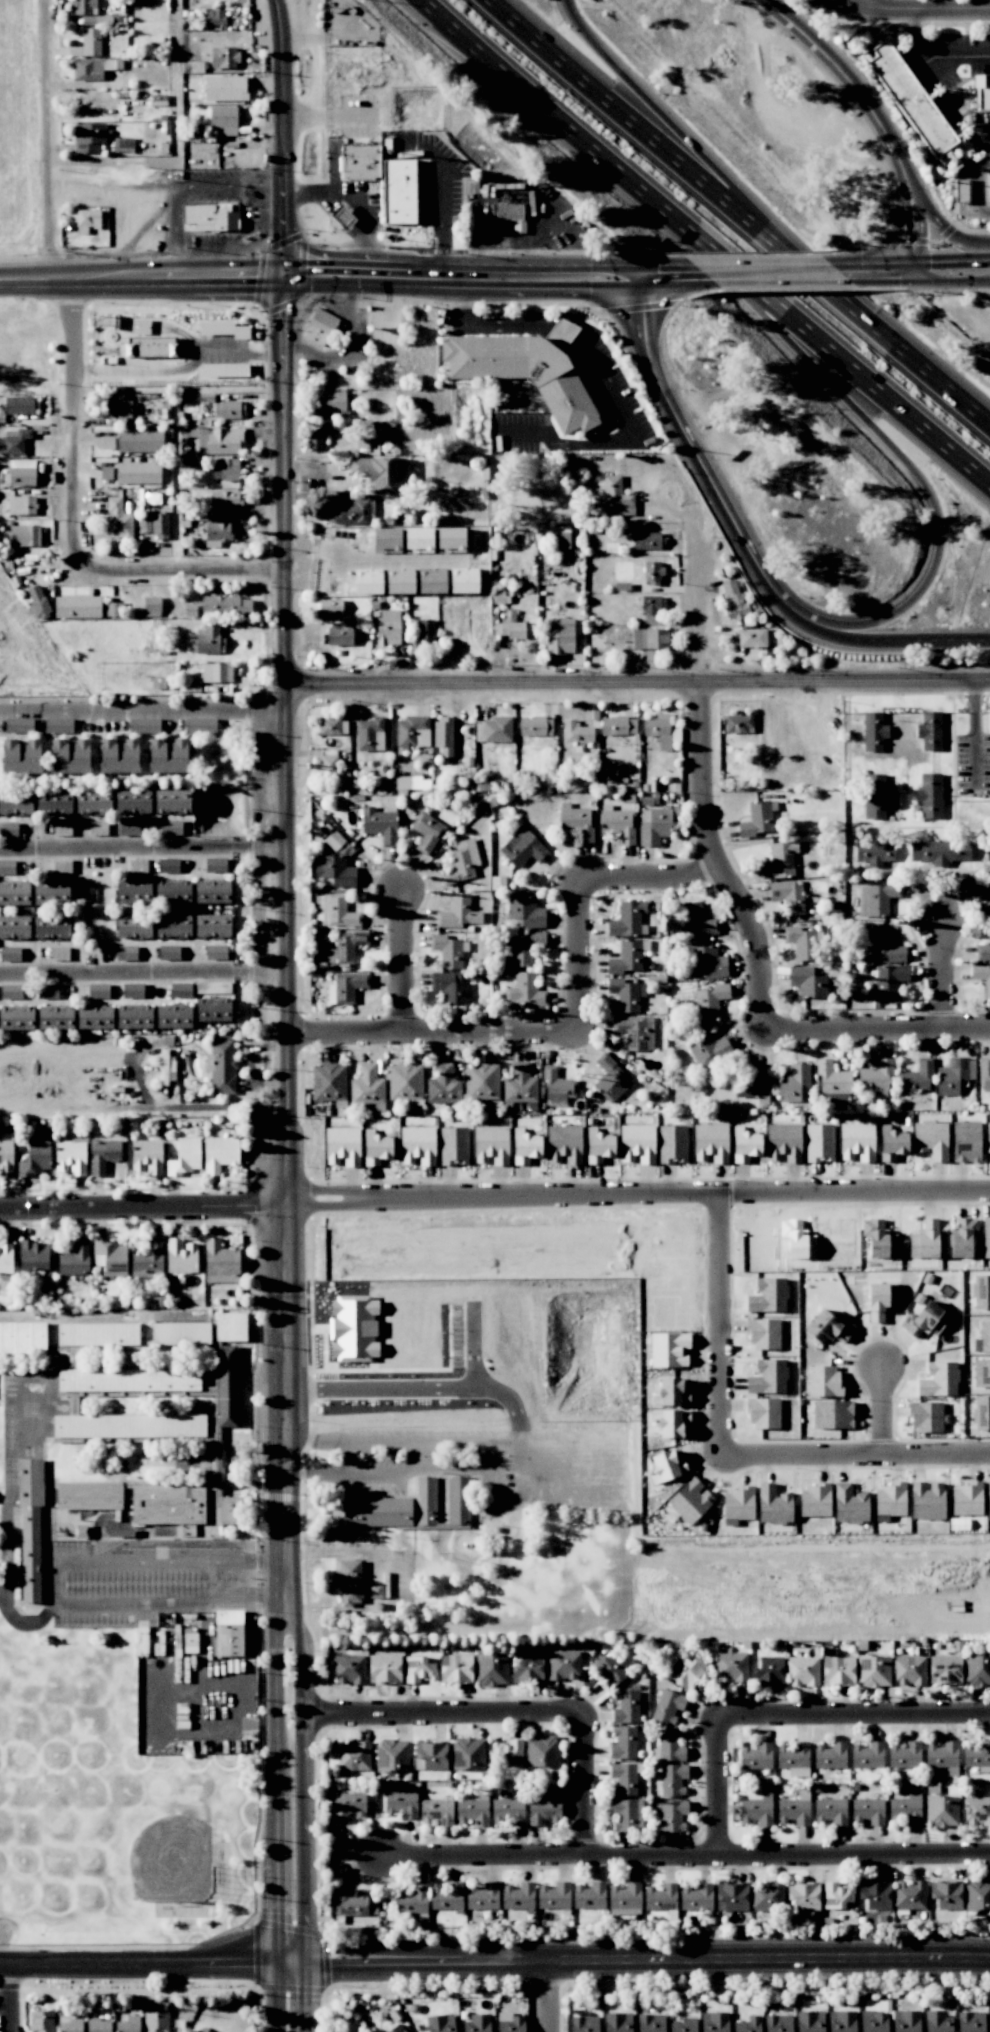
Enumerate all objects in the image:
road: (838, 4)
building: (83, 7)
road: (905, 15)
building: (215, 17)
building: (91, 42)
building: (225, 58)
road: (934, 58)
road: (832, 62)
building: (91, 68)
building: (225, 88)
building: (982, 93)
building: (912, 99)
road: (545, 110)
building: (223, 119)
road: (987, 133)
building: (88, 137)
road: (279, 138)
road: (41, 140)
road: (661, 147)
road: (695, 149)
road: (903, 160)
building: (359, 162)
road: (896, 165)
road: (101, 182)
road: (176, 184)
road: (977, 186)
building: (989, 187)
building: (961, 190)
building: (398, 191)
road: (323, 195)
road: (441, 201)
building: (511, 215)
building: (211, 217)
building: (86, 220)
road: (919, 225)
road: (905, 228)
road: (943, 229)
road: (891, 235)
road: (508, 237)
road: (954, 261)
road: (882, 263)
traffic signals: (906, 263)
road: (912, 263)
traffic signals: (919, 263)
road: (761, 264)
road: (845, 264)
road: (617, 266)
traffic signals: (641, 266)
road: (411, 267)
road: (908, 272)
road: (915, 272)
road: (641, 276)
traffic signals: (282, 278)
road: (141, 279)
road: (880, 282)
traffic signals: (911, 282)
road: (950, 282)
road: (782, 284)
road: (678, 285)
road: (461, 286)
traffic signals: (642, 286)
road: (308, 310)
road: (490, 322)
building: (320, 327)
road: (560, 330)
building: (242, 332)
building: (148, 346)
road: (344, 351)
road: (831, 351)
road: (912, 358)
road: (181, 371)
building: (228, 371)
building: (525, 372)
building: (333, 402)
building: (21, 405)
building: (118, 409)
building: (228, 409)
road: (879, 433)
building: (314, 437)
building: (14, 441)
building: (139, 441)
building: (219, 441)
road: (627, 441)
road: (703, 467)
building: (227, 470)
building: (21, 472)
building: (138, 473)
building: (225, 498)
building: (616, 498)
building: (21, 505)
building: (351, 509)
building: (118, 519)
building: (144, 526)
building: (160, 526)
road: (73, 533)
building: (216, 533)
building: (24, 535)
building: (560, 537)
building: (450, 538)
building: (386, 539)
building: (418, 539)
building: (648, 541)
road: (381, 563)
building: (652, 572)
building: (464, 582)
building: (367, 583)
building: (400, 583)
building: (432, 583)
building: (734, 600)
building: (37, 602)
building: (226, 605)
building: (651, 605)
building: (77, 606)
building: (152, 606)
building: (329, 608)
building: (388, 627)
building: (509, 629)
building: (424, 630)
building: (339, 635)
building: (559, 635)
road: (901, 637)
building: (752, 638)
building: (650, 639)
building: (207, 640)
building: (217, 672)
road: (639, 682)
building: (158, 683)
road: (144, 710)
building: (739, 723)
building: (19, 725)
building: (59, 725)
building: (144, 725)
building: (200, 725)
building: (330, 726)
building: (535, 726)
building: (618, 726)
building: (494, 730)
building: (658, 730)
road: (977, 730)
building: (874, 731)
building: (930, 731)
building: (412, 732)
building: (576, 732)
building: (370, 734)
building: (443, 736)
building: (119, 756)
building: (21, 757)
building: (70, 757)
building: (168, 757)
building: (328, 766)
building: (412, 783)
building: (491, 785)
road: (697, 786)
building: (929, 795)
building: (875, 796)
building: (53, 802)
building: (93, 802)
building: (132, 802)
building: (172, 802)
building: (15, 803)
building: (756, 819)
building: (576, 821)
building: (380, 824)
building: (618, 824)
building: (654, 826)
building: (128, 828)
building: (170, 828)
building: (8, 829)
building: (427, 832)
building: (335, 841)
road: (144, 847)
building: (522, 848)
building: (988, 851)
building: (939, 852)
building: (874, 853)
building: (779, 860)
building: (461, 862)
building: (167, 865)
building: (215, 865)
building: (138, 866)
building: (7, 867)
building: (335, 871)
road: (656, 881)
building: (984, 891)
building: (133, 892)
building: (172, 892)
building: (212, 892)
building: (14, 893)
building: (51, 894)
building: (788, 895)
building: (875, 900)
building: (337, 912)
building: (525, 912)
building: (458, 913)
building: (628, 920)
building: (696, 920)
building: (212, 925)
building: (133, 926)
building: (173, 926)
building: (14, 927)
building: (51, 927)
building: (800, 942)
building: (347, 945)
building: (886, 946)
road: (289, 947)
building: (523, 949)
building: (447, 951)
building: (983, 951)
building: (125, 952)
building: (168, 952)
building: (216, 952)
building: (10, 953)
building: (626, 957)
building: (707, 961)
road: (583, 963)
road: (403, 970)
road: (144, 972)
building: (982, 977)
road: (945, 978)
building: (807, 982)
building: (888, 982)
building: (212, 987)
building: (347, 987)
building: (450, 987)
building: (525, 990)
building: (47, 991)
building: (11, 992)
building: (710, 1001)
building: (213, 1010)
building: (94, 1017)
building: (134, 1017)
building: (173, 1017)
building: (16, 1018)
building: (55, 1018)
road: (876, 1028)
building: (634, 1031)
road: (435, 1043)
building: (709, 1050)
building: (222, 1066)
building: (166, 1067)
building: (984, 1074)
building: (875, 1075)
building: (954, 1075)
building: (917, 1077)
building: (611, 1079)
building: (481, 1081)
building: (329, 1082)
building: (405, 1082)
building: (793, 1082)
building: (833, 1083)
building: (754, 1084)
building: (443, 1085)
building: (519, 1085)
building: (367, 1086)
building: (557, 1088)
building: (988, 1136)
building: (931, 1139)
building: (966, 1141)
building: (784, 1142)
building: (857, 1142)
building: (710, 1143)
building: (819, 1143)
building: (564, 1144)
building: (638, 1144)
building: (672, 1144)
building: (745, 1144)
building: (418, 1145)
building: (491, 1145)
building: (893, 1145)
building: (343, 1146)
building: (453, 1146)
building: (525, 1147)
building: (219, 1153)
building: (6, 1154)
building: (102, 1155)
building: (36, 1157)
building: (147, 1157)
building: (184, 1157)
building: (70, 1158)
road: (852, 1190)
road: (499, 1196)
road: (142, 1205)
building: (986, 1237)
building: (959, 1239)
building: (925, 1240)
building: (881, 1244)
building: (33, 1255)
building: (180, 1256)
building: (112, 1257)
building: (6, 1258)
building: (75, 1259)
building: (148, 1259)
building: (220, 1259)
building: (983, 1293)
building: (768, 1296)
building: (881, 1300)
building: (924, 1320)
road: (718, 1324)
building: (230, 1327)
building: (353, 1328)
building: (830, 1330)
building: (97, 1334)
building: (180, 1334)
building: (984, 1336)
building: (22, 1337)
road: (473, 1344)
building: (669, 1349)
building: (768, 1377)
building: (128, 1380)
building: (939, 1380)
building: (824, 1381)
road: (402, 1385)
building: (226, 1386)
building: (671, 1393)
road: (885, 1409)
building: (763, 1413)
building: (982, 1413)
building: (831, 1414)
building: (925, 1417)
building: (671, 1422)
building: (128, 1426)
road: (404, 1446)
road: (855, 1454)
building: (666, 1467)
road: (415, 1468)
building: (88, 1495)
building: (458, 1500)
building: (966, 1500)
building: (988, 1500)
building: (690, 1501)
building: (889, 1501)
building: (927, 1501)
building: (814, 1502)
building: (738, 1503)
building: (167, 1504)
building: (850, 1504)
building: (773, 1505)
building: (394, 1508)
building: (230, 1510)
building: (30, 1528)
building: (349, 1581)
road: (53, 1586)
building: (228, 1633)
building: (190, 1643)
building: (563, 1665)
building: (731, 1667)
building: (455, 1668)
building: (349, 1669)
building: (384, 1669)
building: (418, 1669)
building: (528, 1669)
building: (611, 1669)
building: (945, 1669)
building: (491, 1670)
building: (838, 1670)
building: (909, 1670)
building: (977, 1670)
building: (768, 1671)
building: (803, 1671)
building: (874, 1671)
building: (686, 1672)
road: (281, 1675)
building: (668, 1706)
building: (626, 1707)
road: (853, 1711)
road: (444, 1713)
building: (623, 1743)
building: (669, 1746)
building: (542, 1752)
building: (507, 1753)
building: (468, 1754)
building: (942, 1754)
building: (867, 1755)
building: (904, 1755)
building: (354, 1756)
building: (431, 1756)
building: (756, 1756)
building: (793, 1756)
building: (830, 1756)
building: (977, 1756)
road: (304, 1777)
building: (624, 1778)
building: (672, 1779)
road: (586, 1785)
road: (717, 1786)
building: (401, 1803)
building: (348, 1805)
building: (795, 1809)
building: (906, 1809)
building: (757, 1810)
building: (976, 1810)
building: (436, 1811)
building: (471, 1811)
building: (508, 1811)
building: (830, 1811)
building: (868, 1811)
building: (942, 1811)
building: (626, 1814)
building: (671, 1815)
road: (685, 1858)
road: (277, 1865)
building: (946, 1894)
building: (977, 1894)
building: (804, 1895)
building: (875, 1895)
building: (910, 1895)
building: (482, 1896)
building: (518, 1896)
building: (554, 1896)
building: (589, 1896)
building: (837, 1896)
building: (447, 1897)
building: (660, 1897)
building: (696, 1897)
building: (731, 1897)
building: (767, 1897)
building: (624, 1898)
building: (411, 1901)
building: (349, 1903)
road: (301, 1953)
road: (644, 1958)
road: (150, 1960)
traffic signals: (275, 1960)
traffic signals: (300, 1961)
road: (549, 1995)
road: (13, 1996)
road: (299, 1996)
road: (273, 2014)
building: (41, 2021)
building: (155, 2021)
building: (810, 2021)
building: (842, 2021)
building: (874, 2021)
building: (905, 2021)
building: (937, 2021)
building: (617, 2022)
building: (715, 2022)
building: (970, 2022)
building: (441, 2023)
building: (477, 2023)
building: (511, 2023)
building: (651, 2023)
building: (778, 2023)
building: (128, 2024)
building: (584, 2024)
building: (98, 2025)
building: (684, 2025)
building: (748, 2025)
building: (396, 2028)
building: (989, 2028)
building: (202, 2030)

